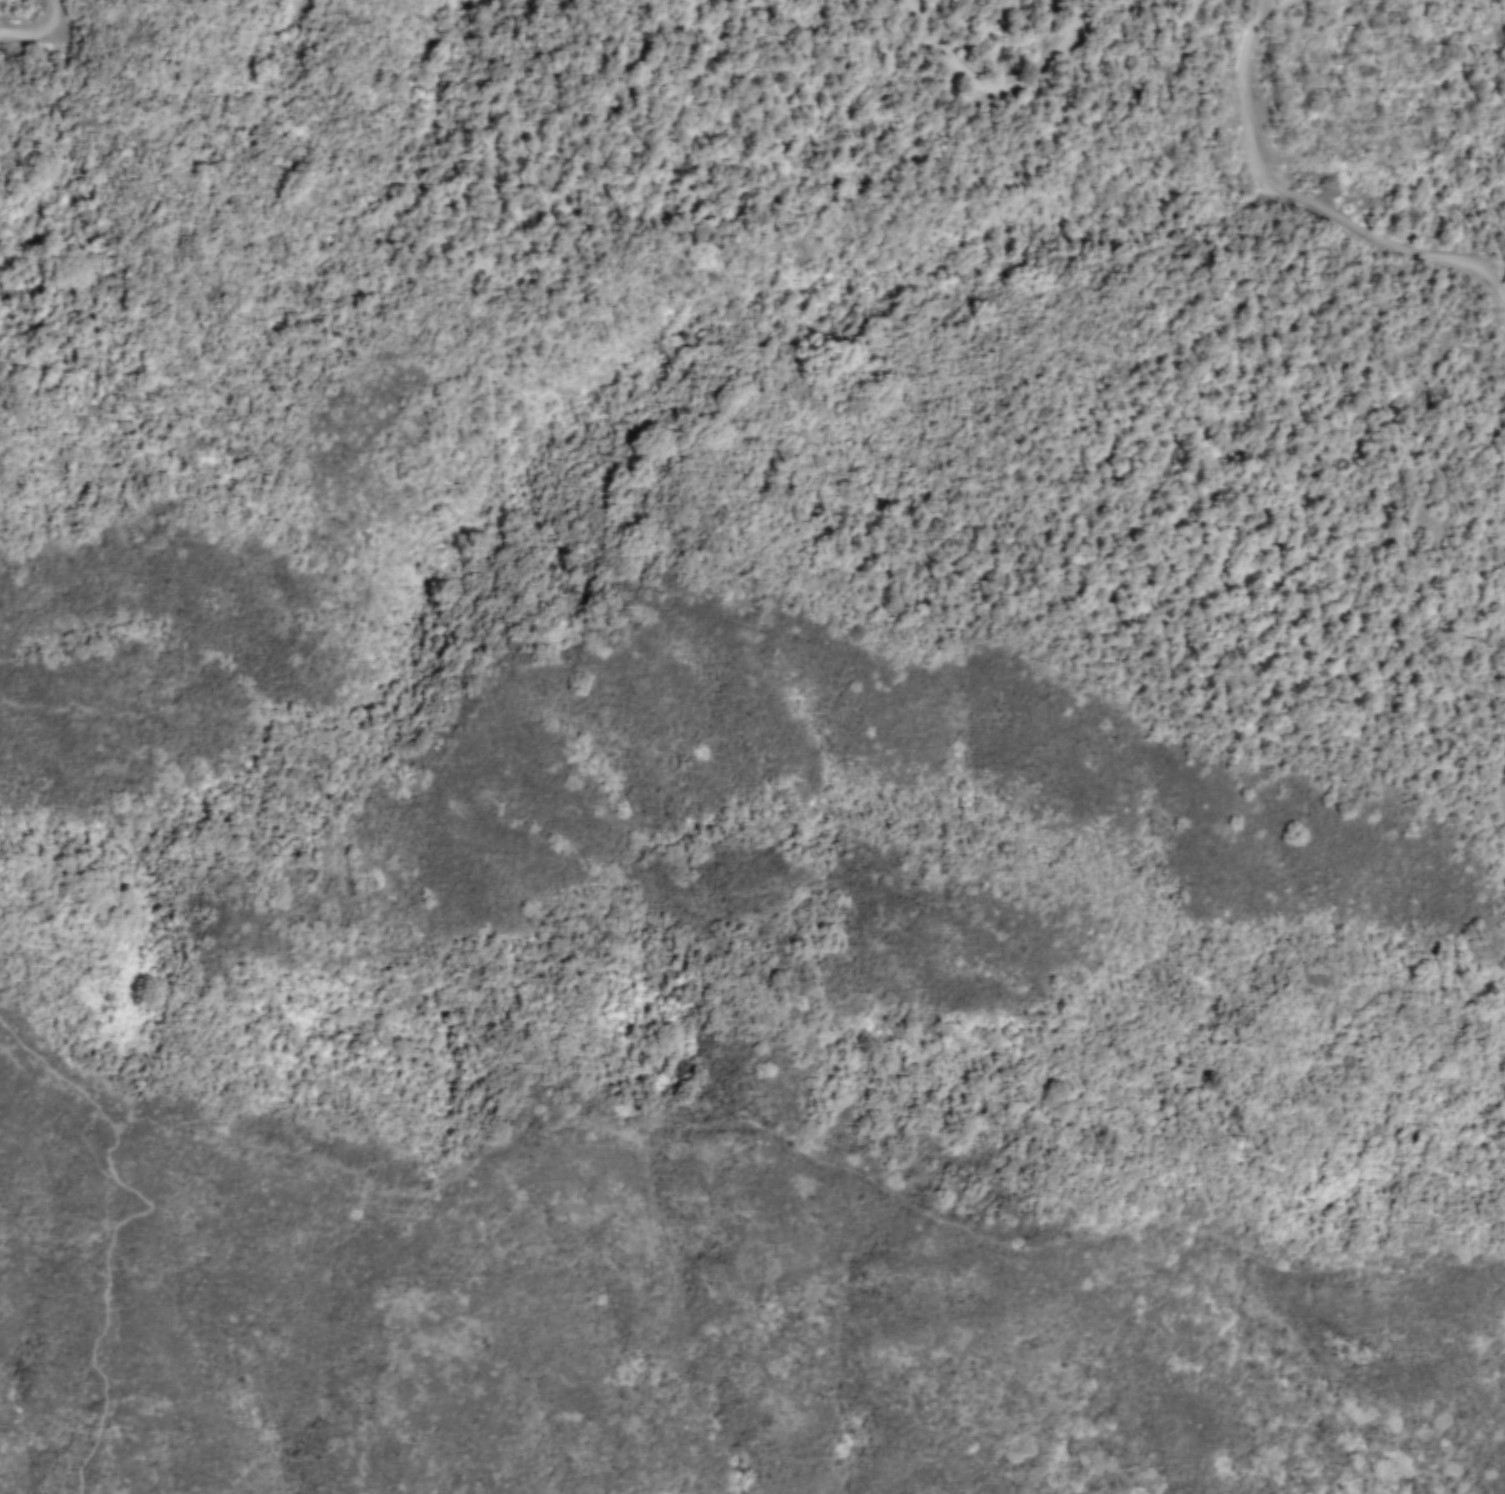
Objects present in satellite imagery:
road: (37, 29)
road: (996, 90)
road: (1302, 203)
road: (129, 1223)

